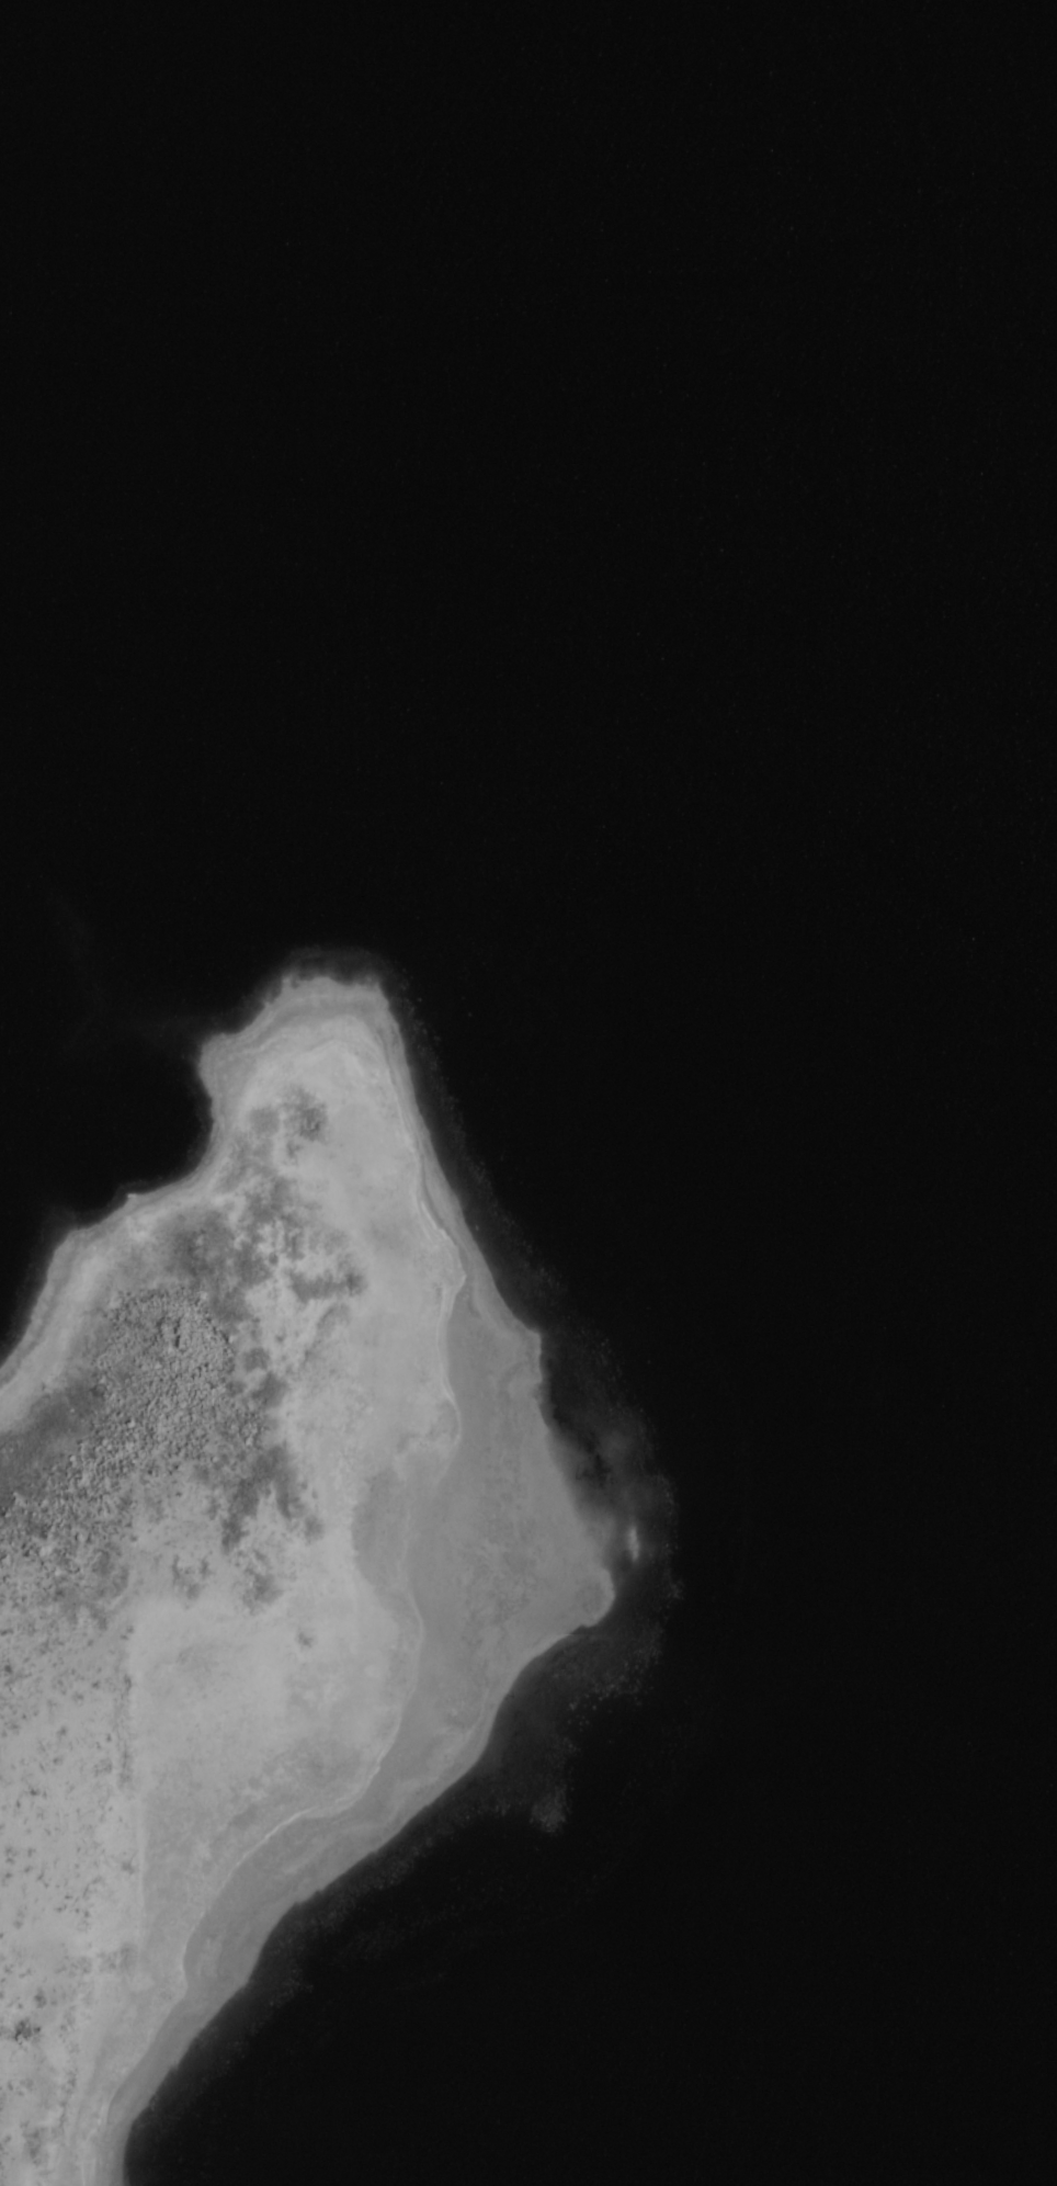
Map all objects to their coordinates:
river: (610, 296)

